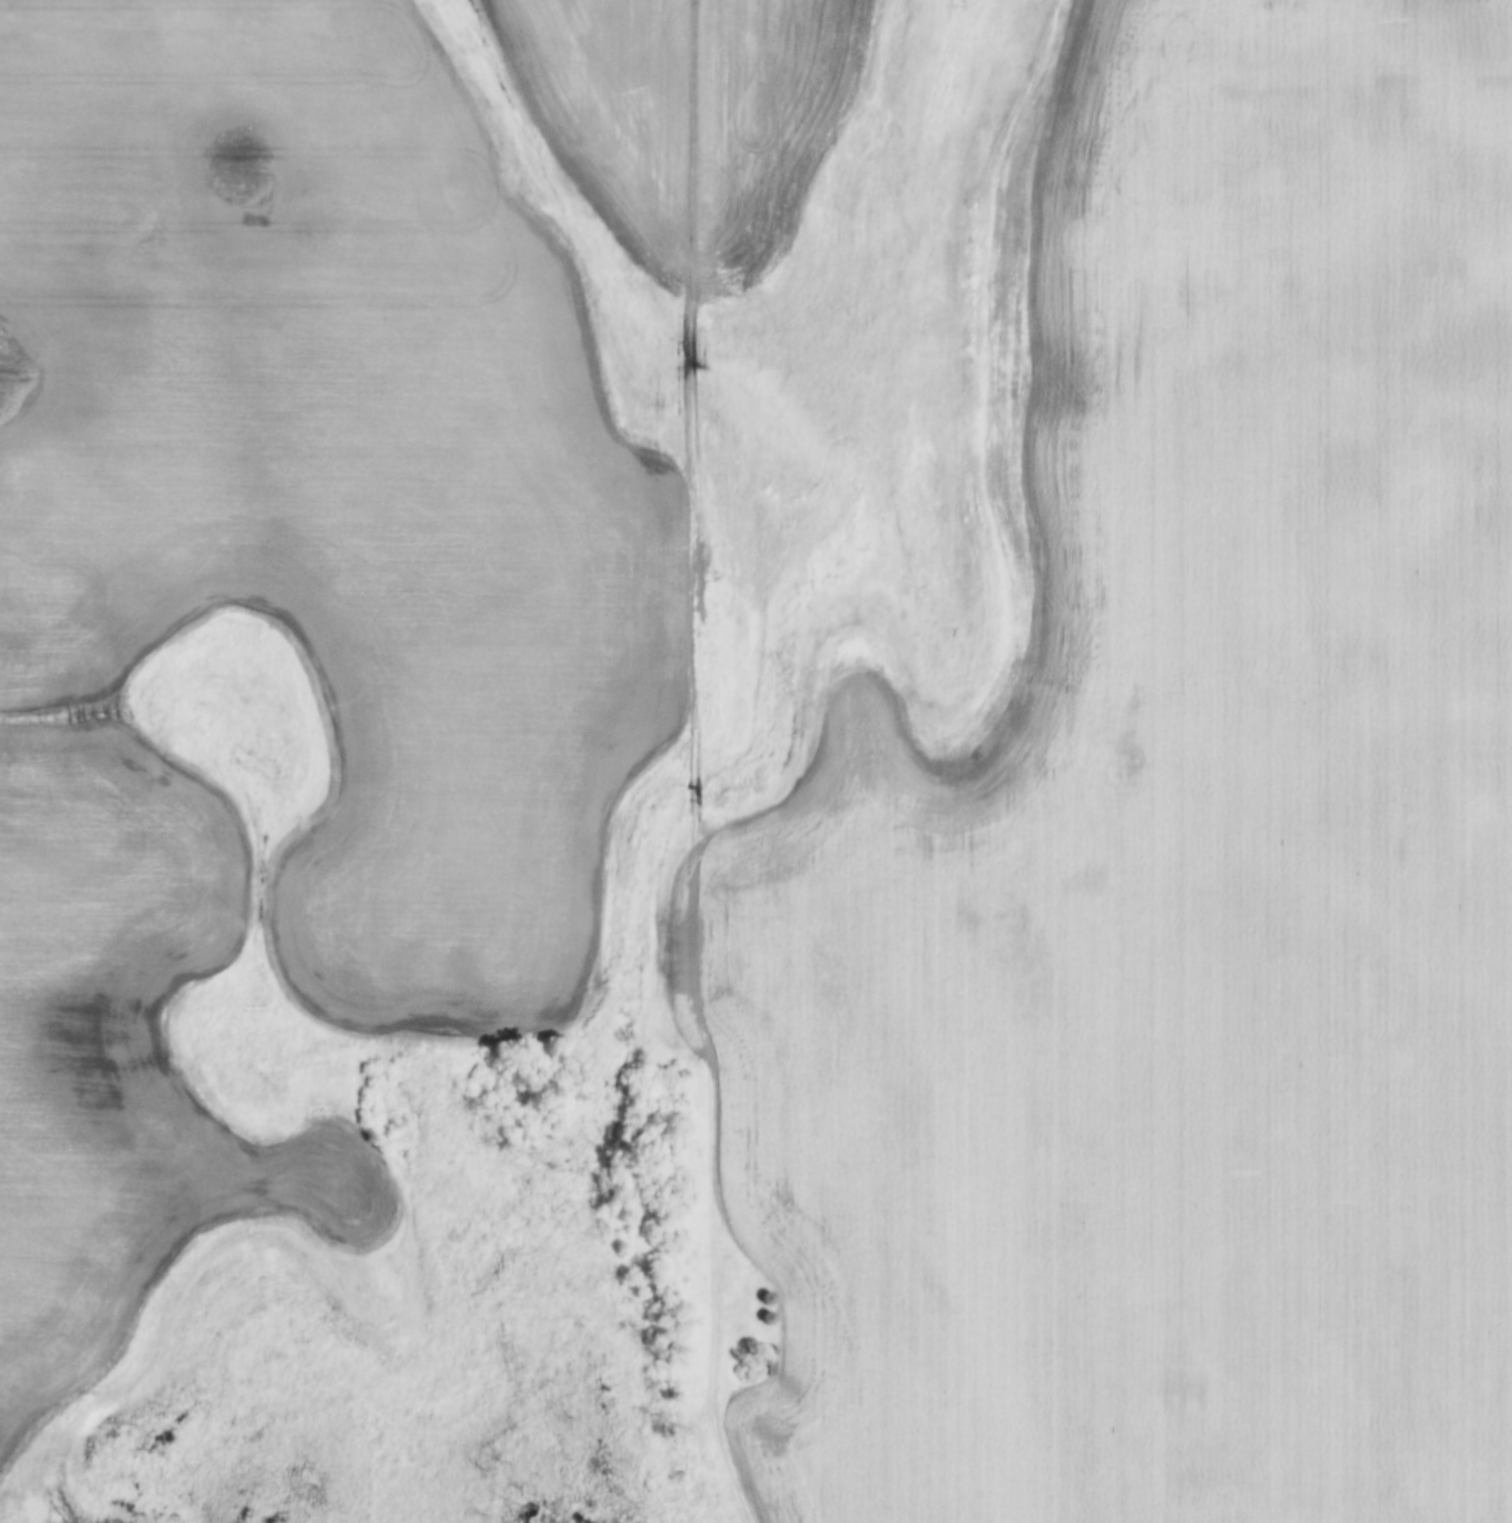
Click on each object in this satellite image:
building: (766, 1300)
building: (766, 1320)
building: (768, 1362)

